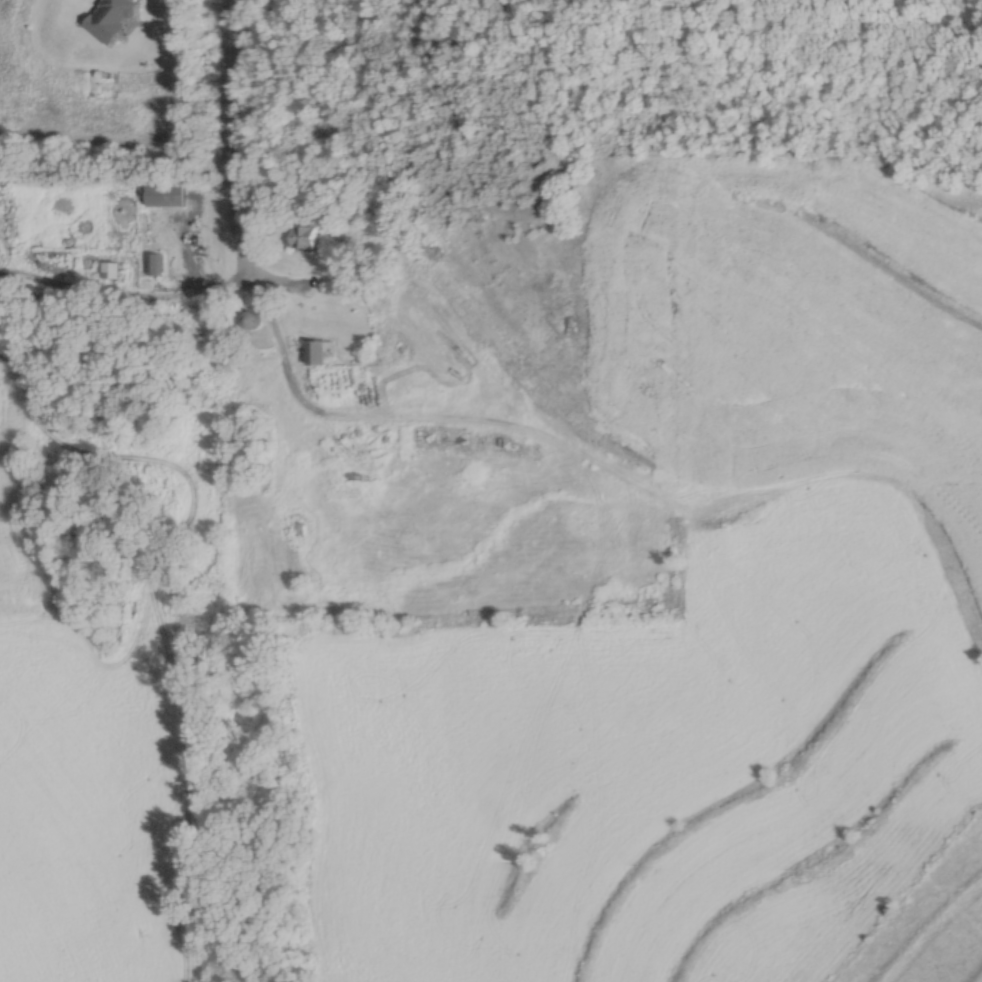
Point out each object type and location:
building: (910, 0)
road: (952, 19)
building: (972, 58)
road: (229, 116)
building: (165, 192)
building: (300, 235)
building: (151, 261)
building: (109, 266)
building: (251, 317)
building: (317, 349)

